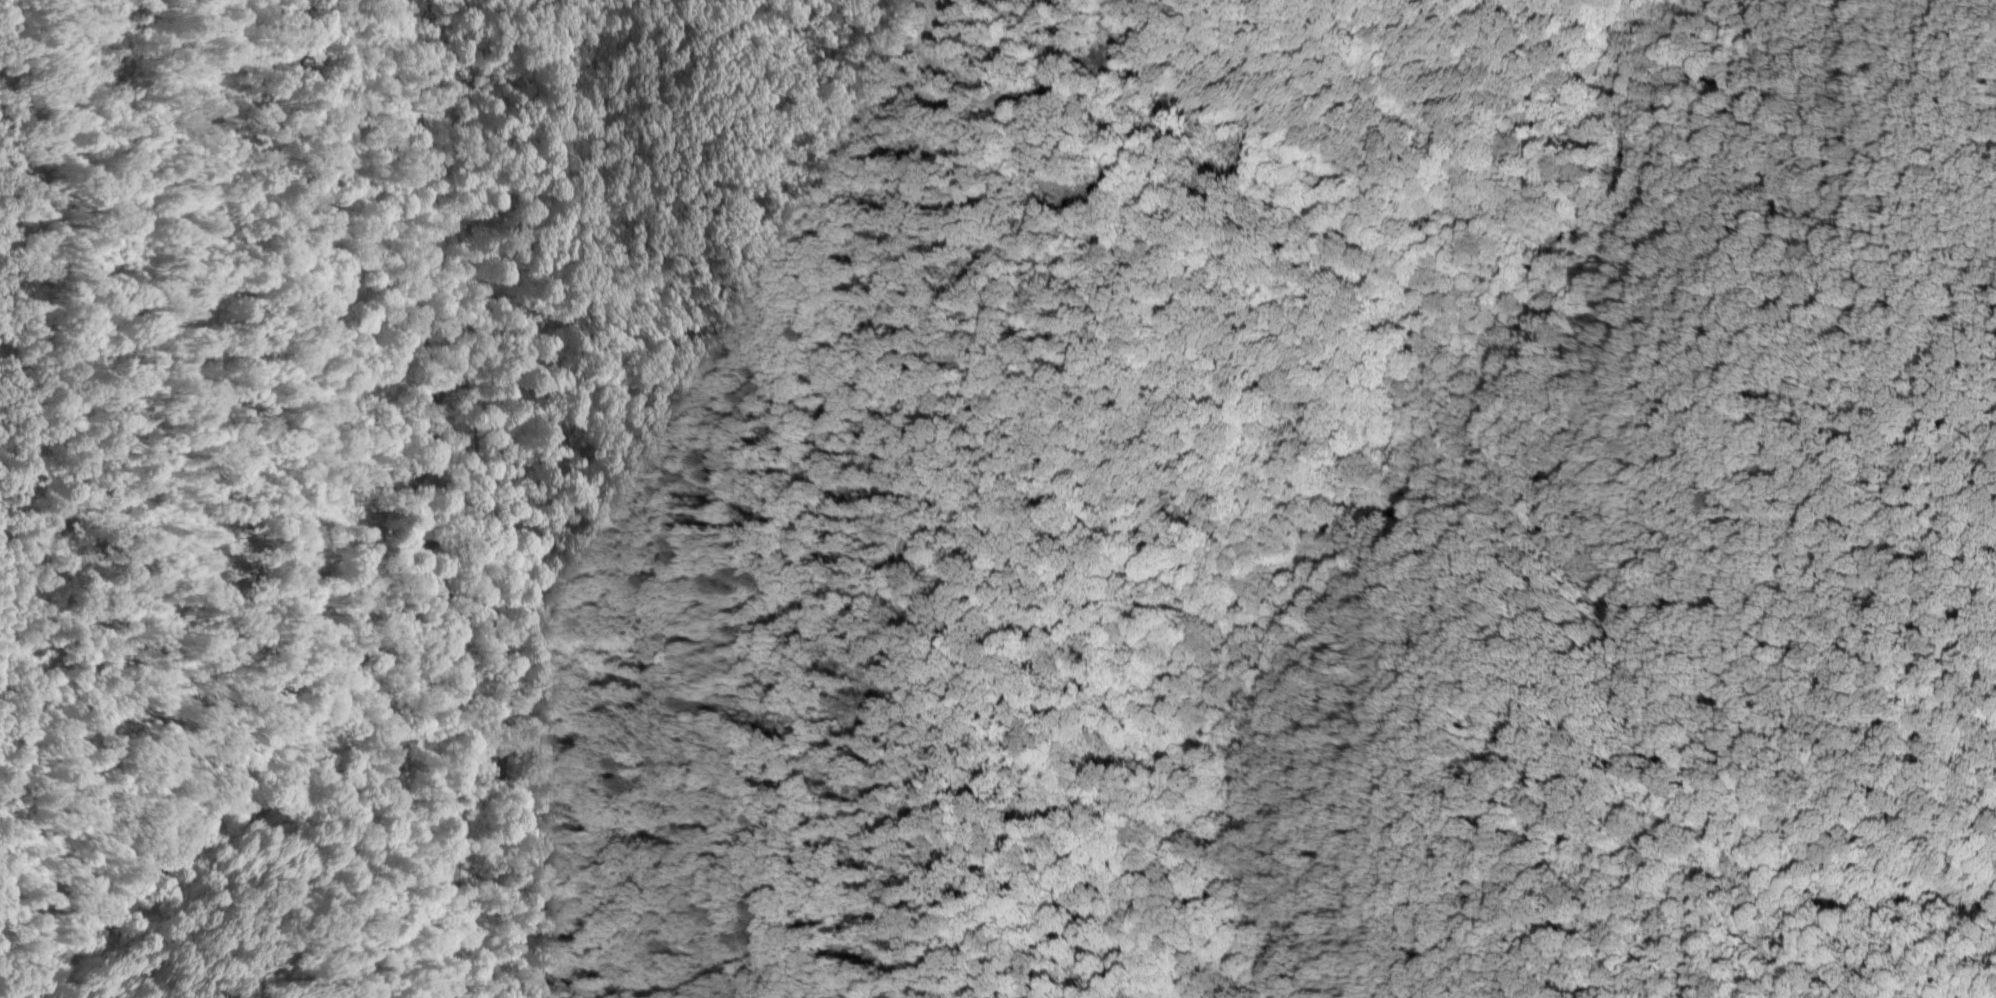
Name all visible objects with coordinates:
road: (909, 494)

